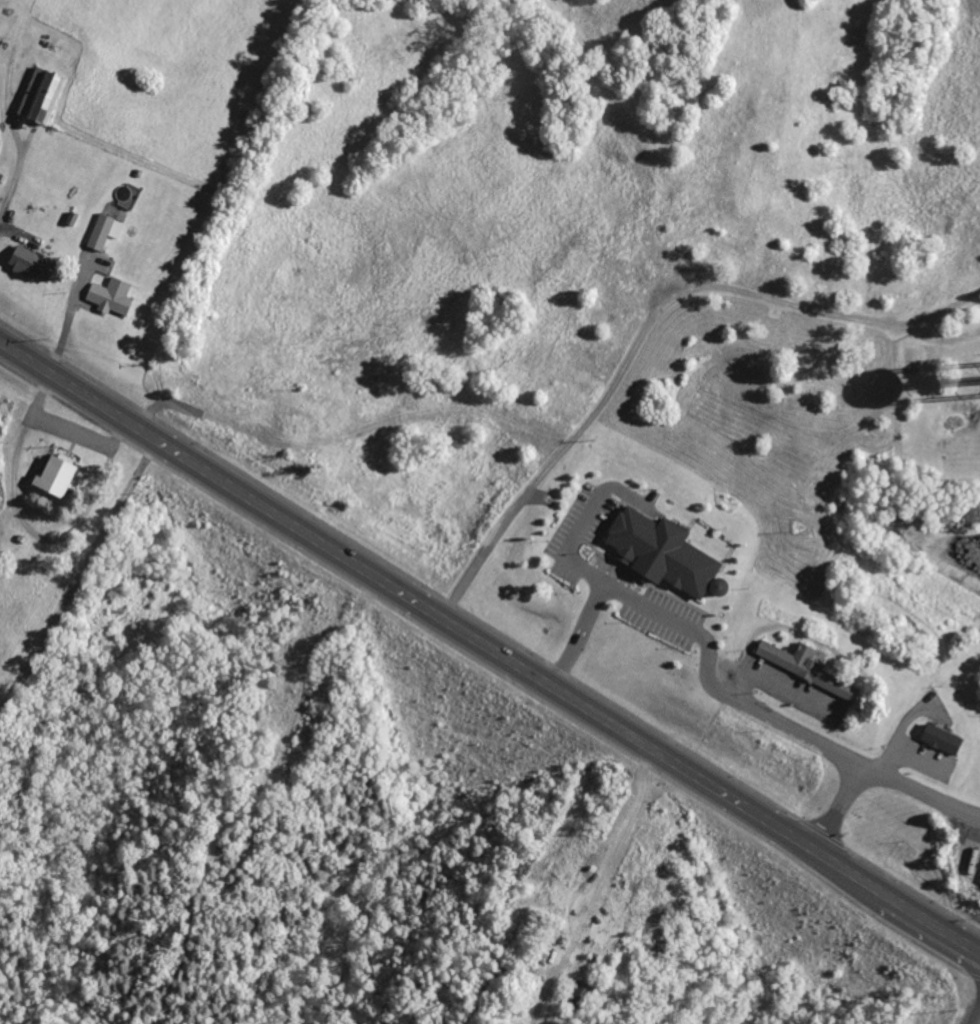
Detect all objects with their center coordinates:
building: (39, 95)
building: (103, 231)
building: (29, 263)
building: (109, 295)
road: (114, 413)
building: (53, 475)
building: (636, 553)
road: (624, 593)
road: (577, 636)
building: (803, 669)
road: (601, 724)
road: (788, 731)
building: (936, 739)
road: (878, 778)
road: (506, 873)
building: (580, 992)
road: (967, 996)

